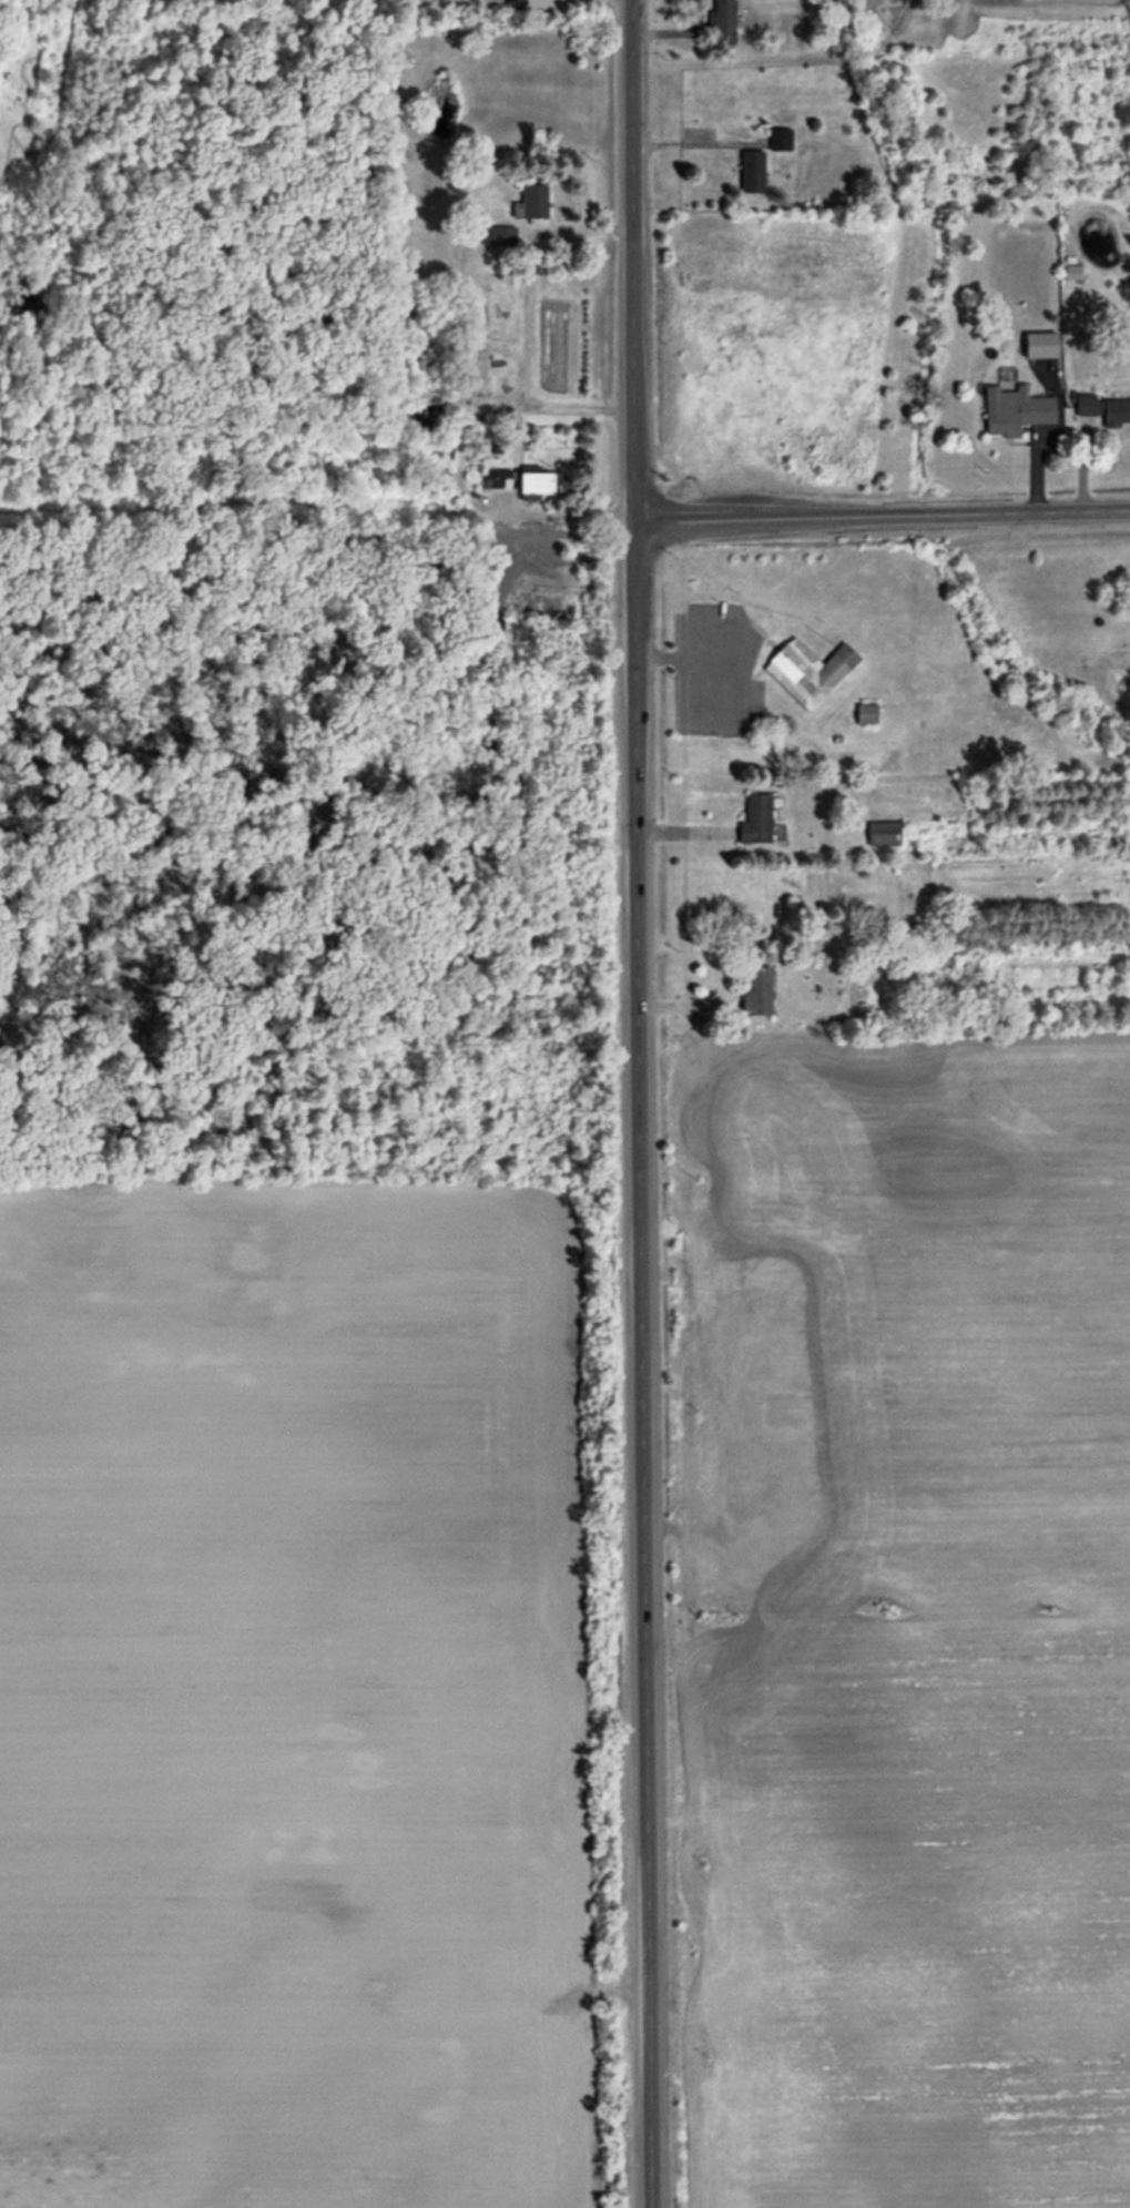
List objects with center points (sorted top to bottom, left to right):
building: (515, 2)
building: (722, 24)
road: (676, 33)
building: (780, 141)
building: (752, 173)
building: (531, 203)
building: (469, 367)
building: (1103, 410)
building: (1016, 414)
building: (438, 455)
road: (510, 460)
building: (492, 479)
building: (541, 484)
road: (882, 510)
building: (808, 672)
building: (866, 715)
building: (756, 821)
building: (884, 834)
building: (756, 993)
road: (638, 1103)

